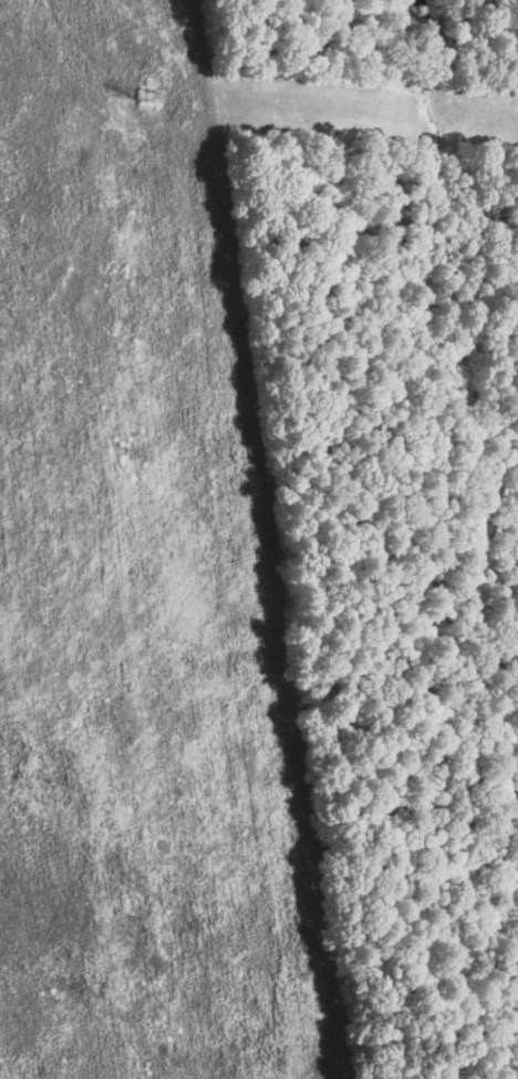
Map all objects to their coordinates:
power tower: (143, 96)

